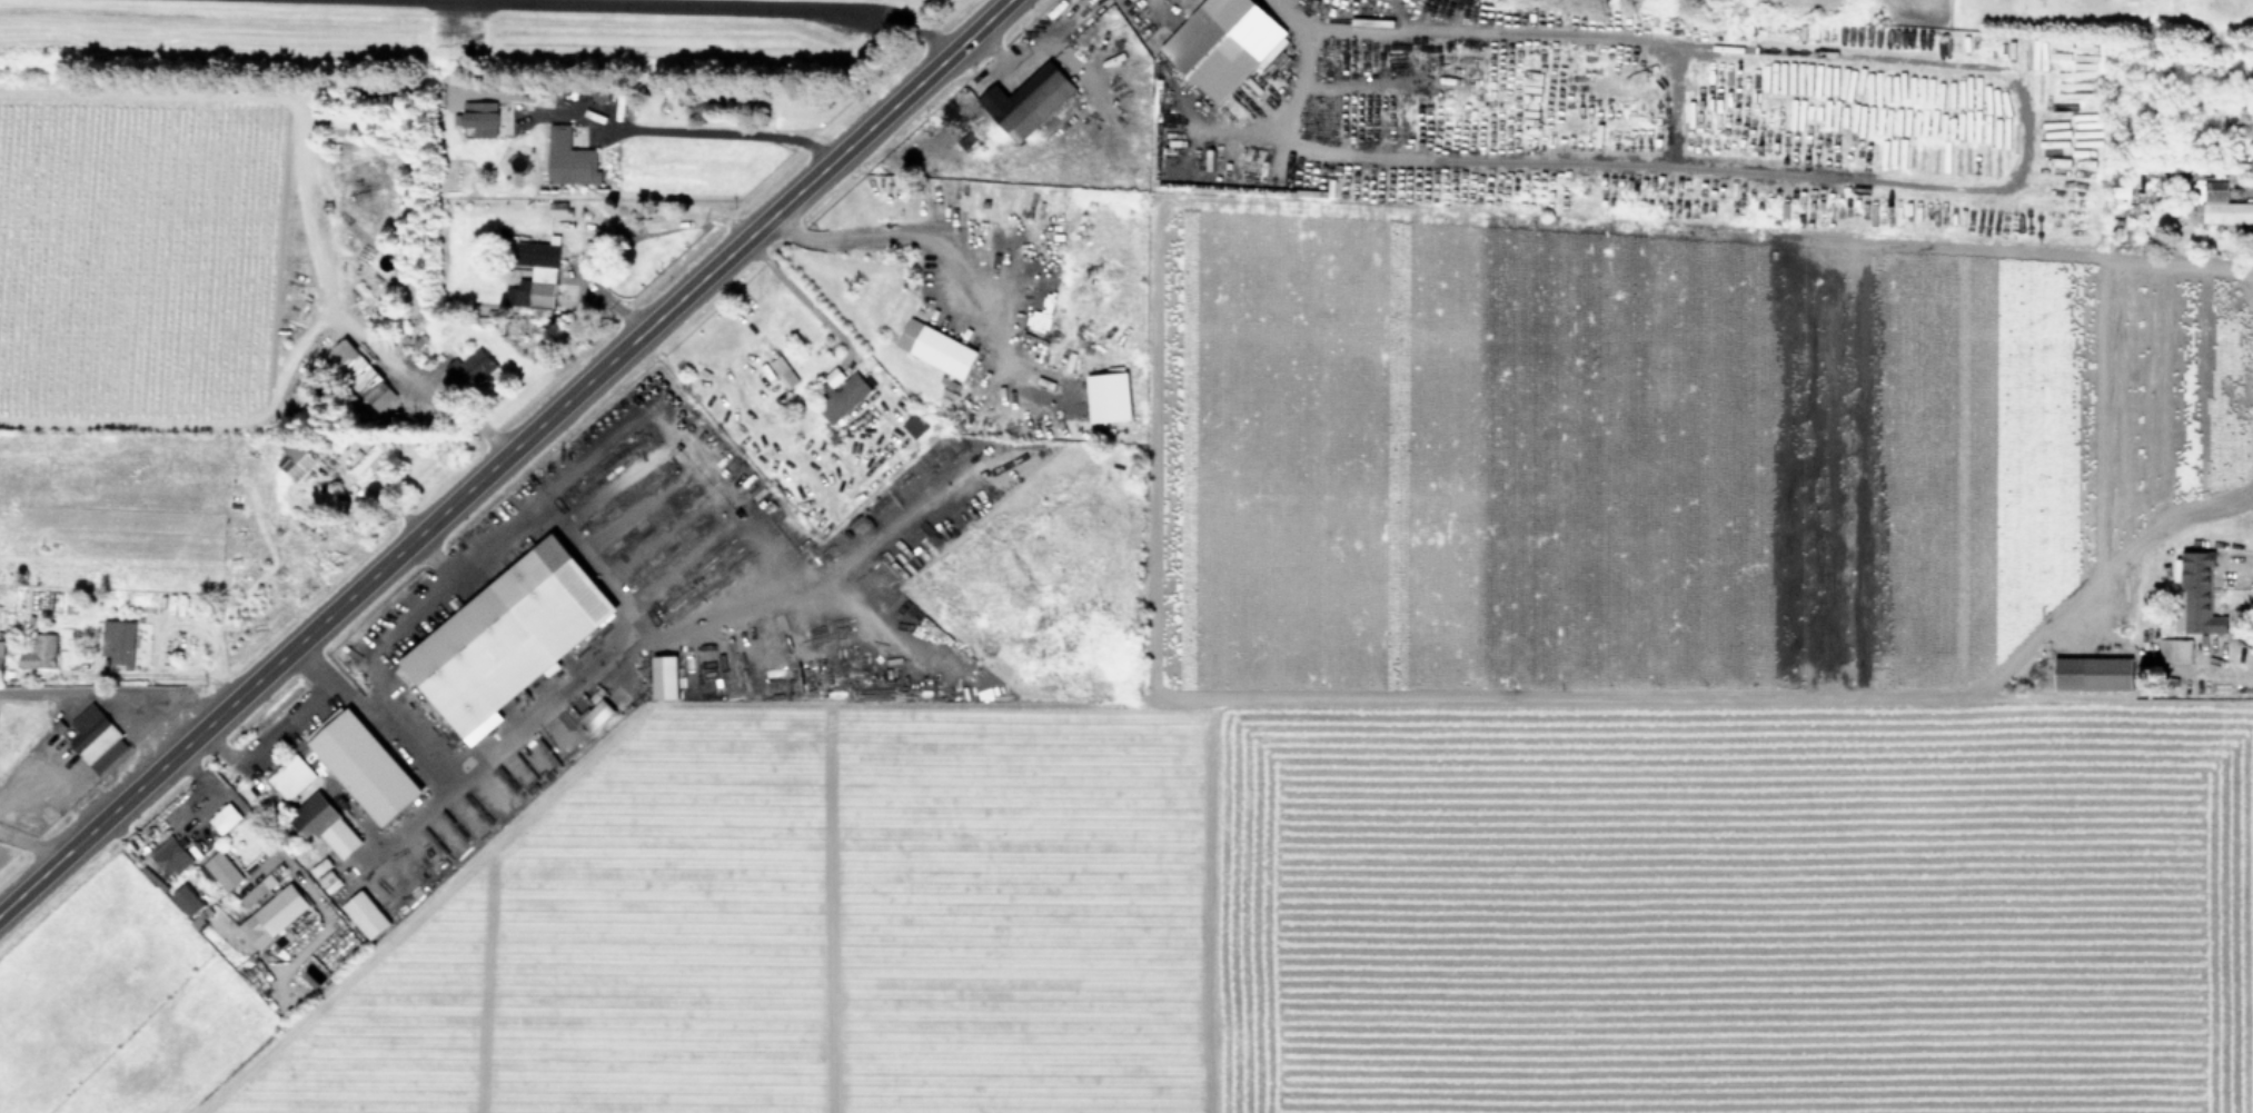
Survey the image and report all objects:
airport runway: (676, 3)
road: (883, 9)
airport: (430, 34)
building: (1212, 51)
building: (1029, 102)
building: (2233, 116)
building: (482, 121)
road: (709, 129)
building: (346, 130)
building: (572, 160)
building: (2222, 210)
road: (885, 235)
building: (540, 272)
road: (794, 290)
road: (614, 302)
crop: (278, 327)
building: (937, 350)
building: (355, 371)
building: (467, 374)
road: (416, 388)
building: (845, 400)
building: (915, 428)
road: (505, 457)
building: (296, 464)
building: (369, 465)
building: (2200, 594)
crop: (1476, 629)
building: (119, 645)
building: (502, 646)
building: (2175, 653)
building: (40, 654)
building: (1, 666)
building: (2110, 676)
road: (111, 694)
building: (598, 717)
building: (97, 742)
building: (358, 769)
road: (52, 773)
building: (291, 779)
road: (205, 803)
building: (316, 818)
building: (227, 819)
road: (29, 845)
building: (171, 858)
building: (224, 873)
building: (259, 892)
building: (282, 915)
building: (251, 931)

